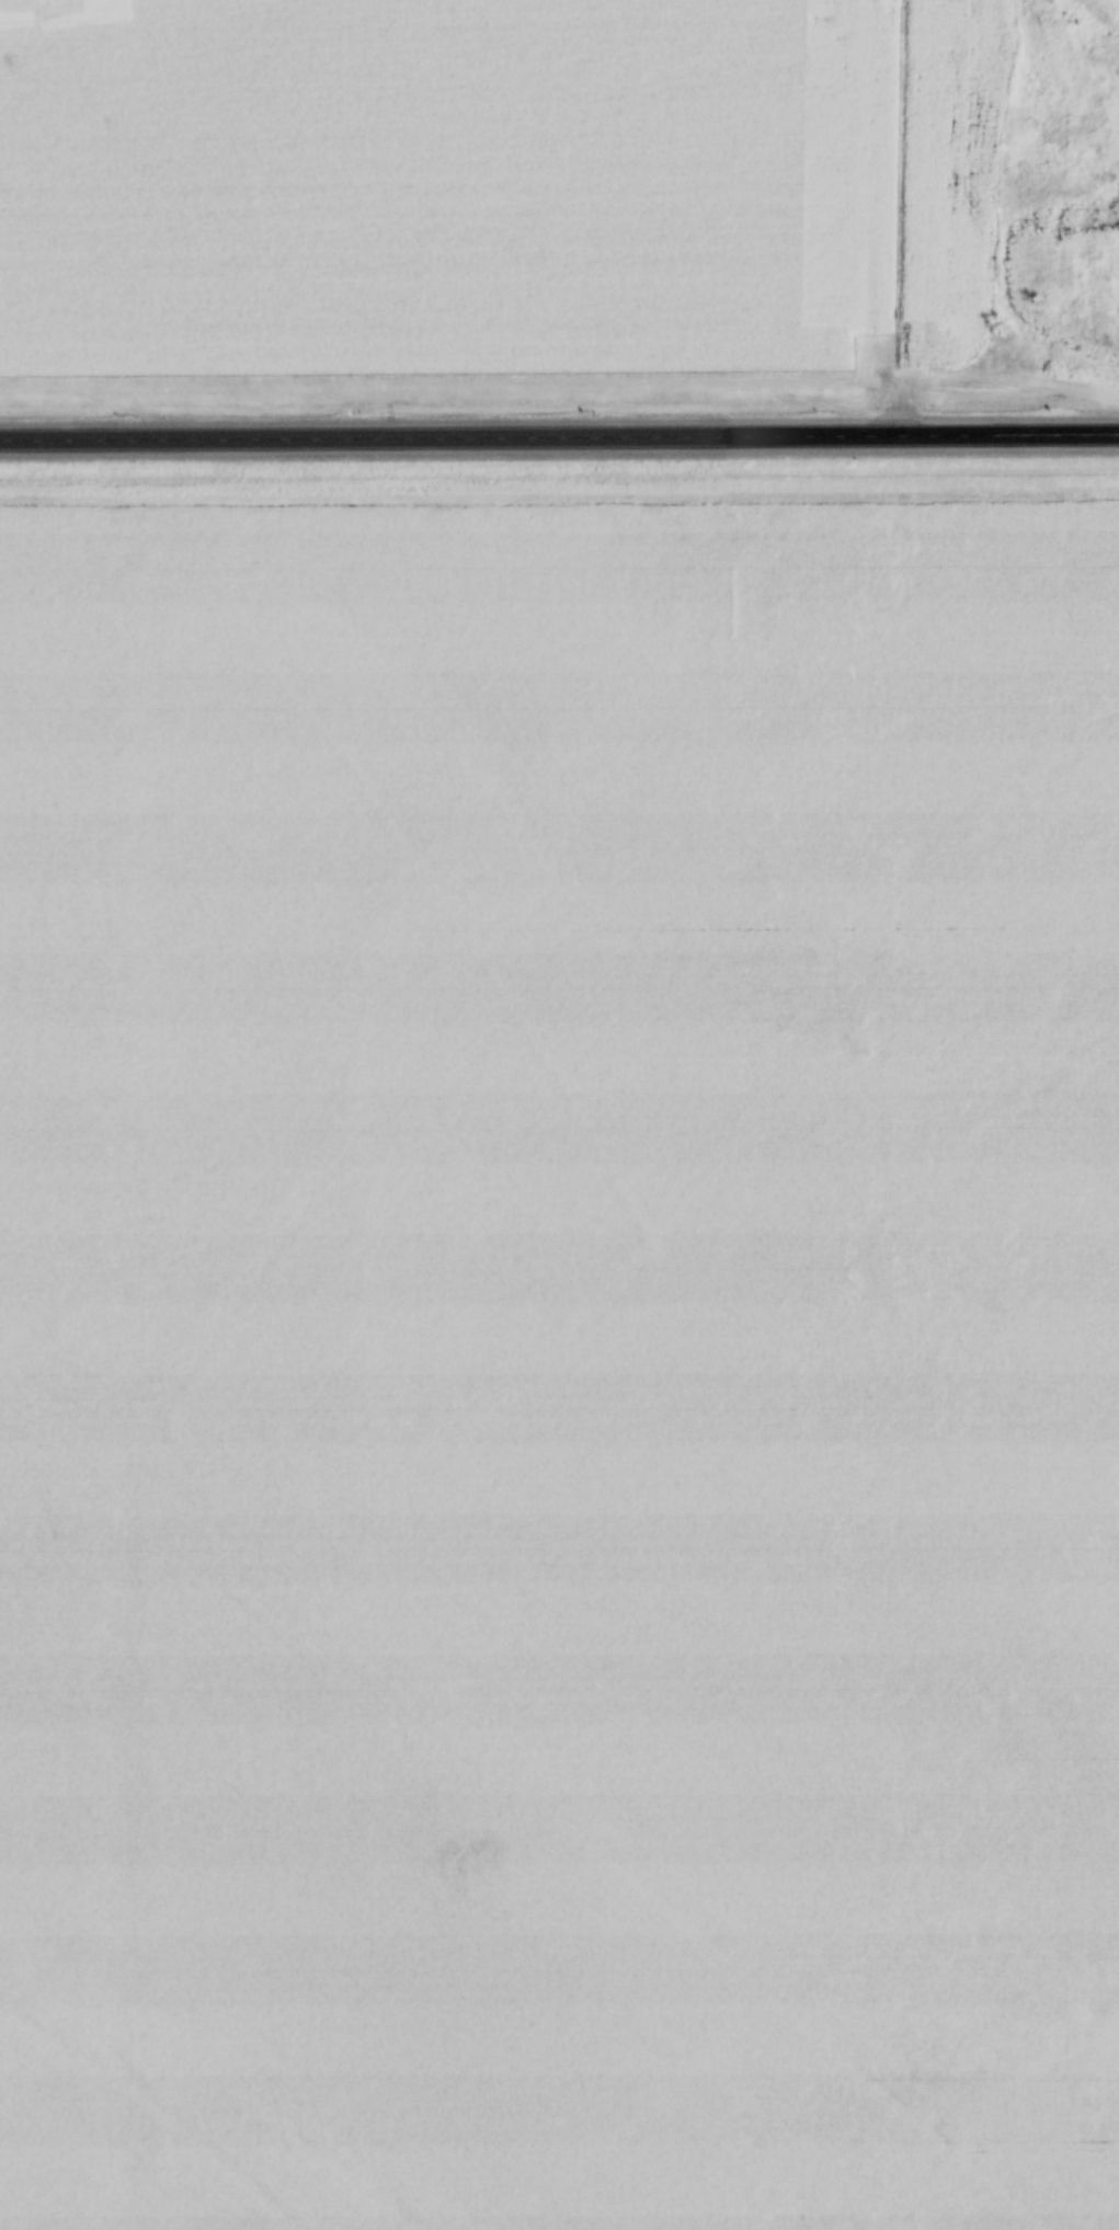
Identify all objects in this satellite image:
road: (559, 442)

